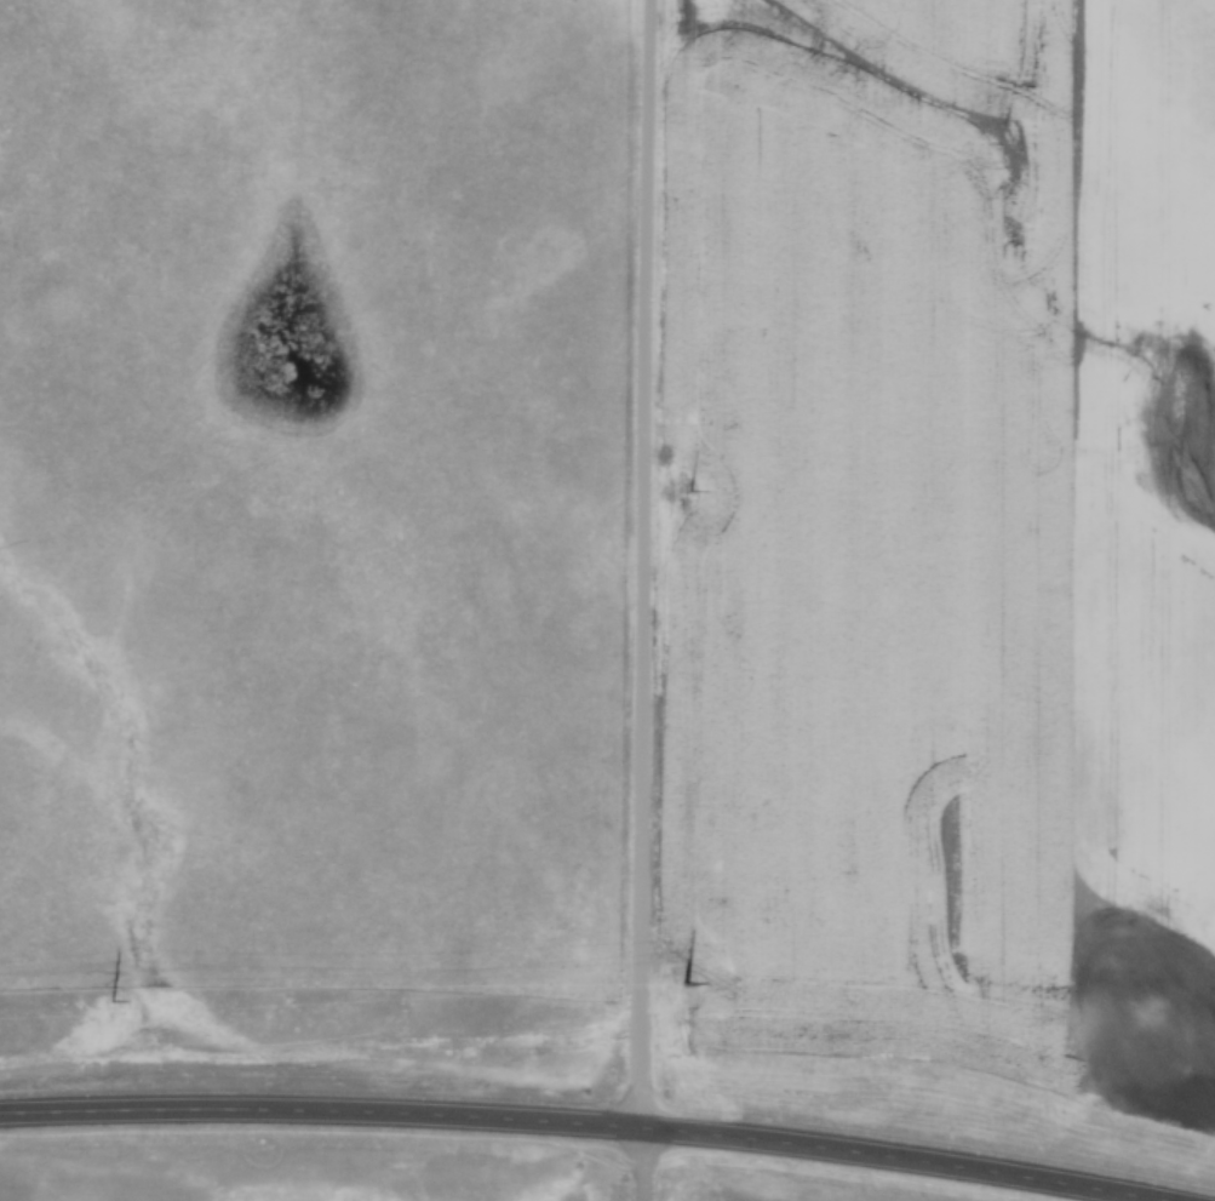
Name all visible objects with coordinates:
power tower: (688, 490)
road: (647, 600)
power tower: (684, 982)
power tower: (111, 999)
road: (562, 1128)

